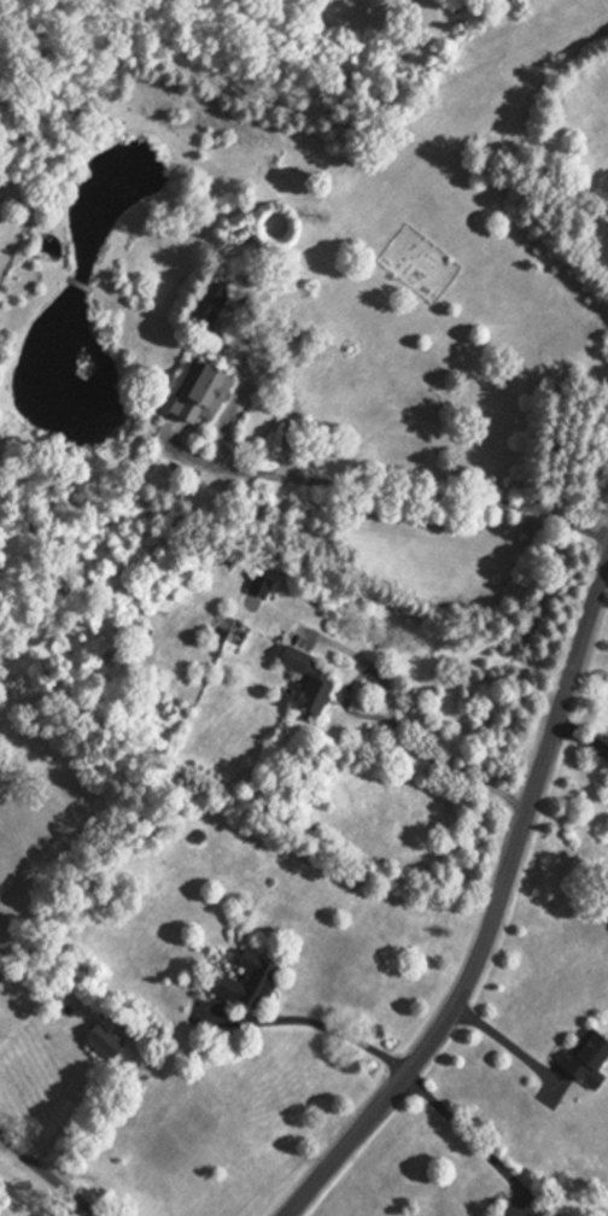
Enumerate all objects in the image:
dam: (81, 285)
building: (220, 312)
building: (105, 331)
building: (201, 393)
road: (419, 495)
building: (315, 679)
road: (397, 730)
road: (497, 914)
building: (249, 981)
road: (323, 1025)
building: (106, 1040)
road: (511, 1046)
building: (586, 1058)
road: (62, 1132)
road: (464, 1132)
road: (47, 1174)
road: (76, 1210)

